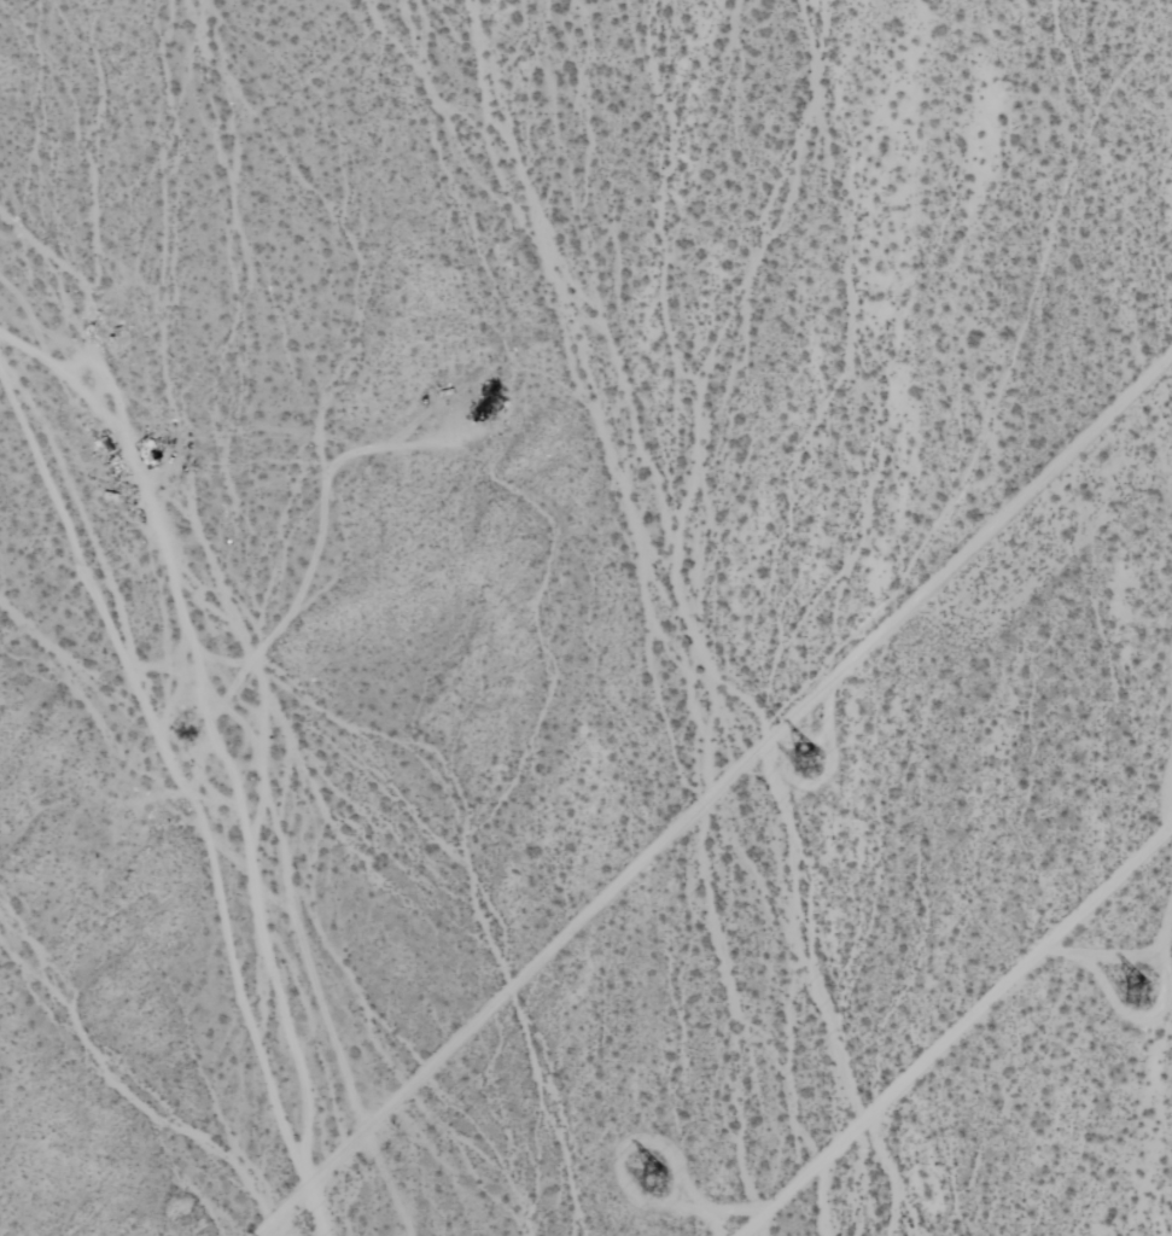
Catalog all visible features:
power tower: (820, 759)
power tower: (1138, 995)
road: (956, 1030)
power tower: (658, 1189)

